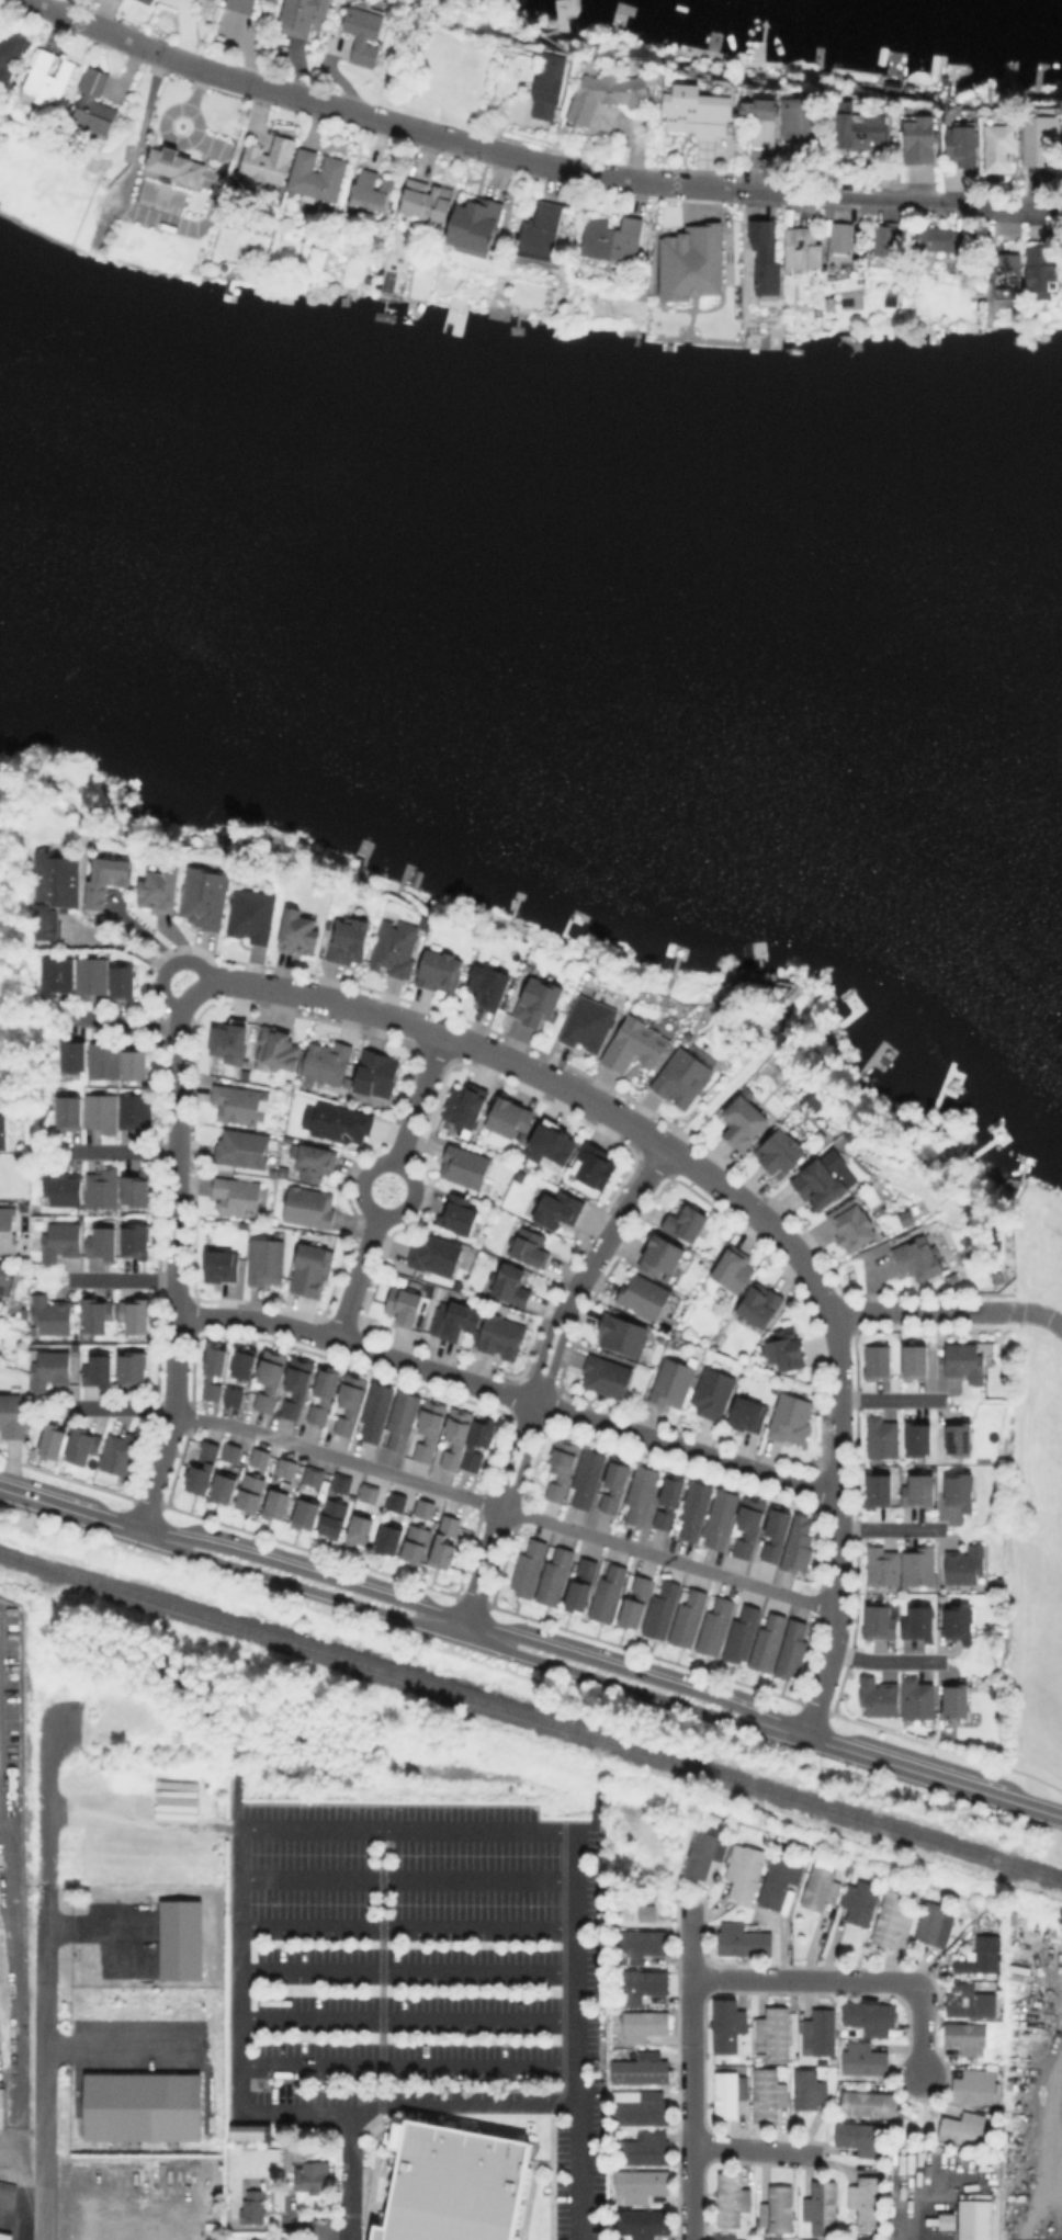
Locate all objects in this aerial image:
building: (270, 1)
building: (144, 2)
building: (239, 5)
building: (300, 16)
building: (363, 35)
building: (11, 57)
building: (726, 60)
building: (48, 80)
building: (547, 89)
building: (891, 89)
building: (607, 97)
building: (93, 103)
building: (758, 111)
building: (697, 112)
building: (801, 126)
building: (860, 131)
building: (1038, 137)
building: (918, 140)
building: (961, 145)
building: (1001, 149)
road: (533, 161)
building: (264, 162)
building: (172, 169)
building: (315, 178)
building: (369, 193)
building: (423, 202)
building: (472, 228)
building: (539, 233)
building: (837, 237)
building: (884, 238)
building: (610, 240)
building: (934, 244)
building: (801, 250)
building: (764, 258)
building: (689, 262)
building: (1040, 270)
building: (1004, 273)
building: (890, 294)
building: (976, 295)
building: (828, 304)
building: (104, 875)
building: (54, 887)
building: (157, 887)
building: (203, 894)
building: (248, 915)
building: (295, 932)
building: (347, 941)
building: (393, 949)
road: (135, 952)
building: (438, 970)
building: (54, 972)
building: (90, 974)
building: (123, 980)
building: (486, 986)
building: (535, 1003)
road: (123, 1023)
building: (585, 1023)
building: (229, 1033)
building: (636, 1042)
building: (274, 1050)
building: (72, 1052)
building: (103, 1055)
building: (135, 1059)
building: (324, 1063)
road: (527, 1070)
building: (373, 1073)
building: (682, 1078)
road: (418, 1099)
building: (238, 1102)
building: (463, 1106)
building: (66, 1112)
building: (98, 1112)
building: (133, 1112)
building: (506, 1119)
building: (745, 1119)
building: (335, 1123)
building: (2, 1125)
building: (547, 1143)
building: (241, 1147)
building: (781, 1149)
road: (122, 1152)
building: (310, 1161)
road: (395, 1164)
building: (590, 1165)
building: (462, 1166)
building: (272, 1172)
building: (820, 1180)
building: (58, 1187)
building: (99, 1188)
building: (133, 1191)
building: (236, 1193)
building: (306, 1207)
building: (555, 1209)
building: (455, 1213)
building: (687, 1219)
building: (35, 1224)
building: (854, 1224)
building: (8, 1228)
building: (134, 1237)
building: (60, 1238)
building: (101, 1238)
building: (528, 1247)
building: (436, 1252)
building: (662, 1253)
building: (919, 1257)
building: (221, 1262)
building: (263, 1262)
building: (733, 1267)
building: (308, 1270)
building: (952, 1276)
building: (998, 1276)
road: (357, 1278)
road: (121, 1279)
road: (174, 1283)
building: (3, 1285)
building: (508, 1285)
building: (643, 1293)
building: (762, 1302)
building: (404, 1303)
road: (920, 1310)
building: (97, 1311)
building: (135, 1313)
building: (23, 1314)
building: (50, 1314)
road: (1037, 1315)
building: (454, 1317)
building: (622, 1333)
building: (501, 1334)
building: (786, 1346)
building: (916, 1357)
building: (879, 1359)
building: (241, 1360)
building: (965, 1360)
building: (132, 1365)
building: (48, 1367)
building: (214, 1368)
building: (97, 1369)
building: (607, 1374)
building: (270, 1378)
road: (540, 1381)
building: (671, 1382)
building: (296, 1387)
building: (714, 1389)
building: (324, 1391)
building: (233, 1393)
road: (508, 1394)
road: (891, 1401)
building: (349, 1403)
road: (120, 1407)
building: (375, 1409)
building: (749, 1412)
building: (12, 1416)
building: (403, 1417)
building: (791, 1418)
building: (430, 1428)
building: (883, 1435)
building: (919, 1435)
building: (962, 1435)
building: (455, 1437)
building: (54, 1440)
building: (80, 1441)
building: (473, 1444)
building: (120, 1451)
building: (230, 1451)
building: (260, 1456)
building: (285, 1466)
building: (202, 1467)
building: (562, 1468)
building: (314, 1473)
building: (589, 1477)
building: (341, 1481)
building: (224, 1485)
building: (614, 1485)
building: (879, 1487)
building: (919, 1489)
building: (960, 1489)
building: (249, 1490)
building: (369, 1490)
building: (643, 1493)
building: (669, 1497)
building: (397, 1500)
building: (275, 1502)
building: (696, 1506)
building: (423, 1507)
road: (506, 1509)
building: (306, 1511)
road: (69, 1512)
building: (334, 1517)
building: (721, 1517)
building: (749, 1524)
road: (838, 1526)
building: (359, 1527)
road: (889, 1527)
building: (776, 1531)
building: (389, 1536)
building: (416, 1541)
building: (445, 1542)
building: (800, 1543)
building: (965, 1563)
building: (884, 1564)
building: (920, 1564)
building: (528, 1566)
building: (555, 1574)
building: (581, 1582)
building: (1001, 1582)
building: (609, 1592)
building: (636, 1598)
building: (662, 1609)
building: (690, 1617)
building: (901, 1621)
building: (961, 1621)
road: (475, 1626)
building: (716, 1626)
building: (742, 1633)
road: (471, 1640)
building: (767, 1642)
building: (794, 1649)
road: (886, 1661)
building: (881, 1695)
building: (918, 1697)
building: (959, 1698)
road: (12, 1704)
railway: (530, 1717)
road: (934, 1778)
road: (7, 1796)
road: (350, 1826)
building: (707, 1851)
building: (745, 1871)
road: (405, 1877)
building: (781, 1878)
building: (821, 1887)
building: (862, 1901)
building: (644, 1912)
building: (891, 1916)
building: (936, 1923)
road: (406, 1926)
road: (90, 1931)
building: (743, 1937)
building: (183, 1942)
building: (645, 1944)
building: (982, 1955)
road: (14, 1969)
parking lot: (425, 1969)
road: (406, 1972)
road: (43, 1977)
road: (847, 1978)
building: (643, 1983)
building: (970, 2000)
building: (871, 2016)
road: (407, 2021)
building: (730, 2024)
building: (645, 2025)
building: (820, 2032)
building: (776, 2033)
building: (968, 2037)
road: (117, 2044)
building: (865, 2059)
road: (407, 2066)
building: (646, 2068)
road: (689, 2072)
building: (974, 2086)
building: (810, 2089)
building: (730, 2092)
building: (768, 2094)
road: (460, 2102)
building: (871, 2104)
building: (142, 2105)
building: (1, 2107)
building: (645, 2108)
building: (964, 2129)
road: (1047, 2130)
building: (248, 2131)
building: (861, 2136)
road: (1054, 2137)
road: (30, 2140)
building: (645, 2148)
road: (754, 2151)
building: (303, 2165)
road: (14, 2182)
building: (450, 2183)
building: (642, 2184)
building: (733, 2201)
building: (867, 2202)
building: (255, 2207)
building: (822, 2208)
building: (779, 2209)
road: (910, 2216)
building: (973, 2219)
building: (944, 2220)
building: (643, 2224)
road: (336, 2235)
building: (4, 2237)
building: (725, 2237)
building: (863, 2238)

